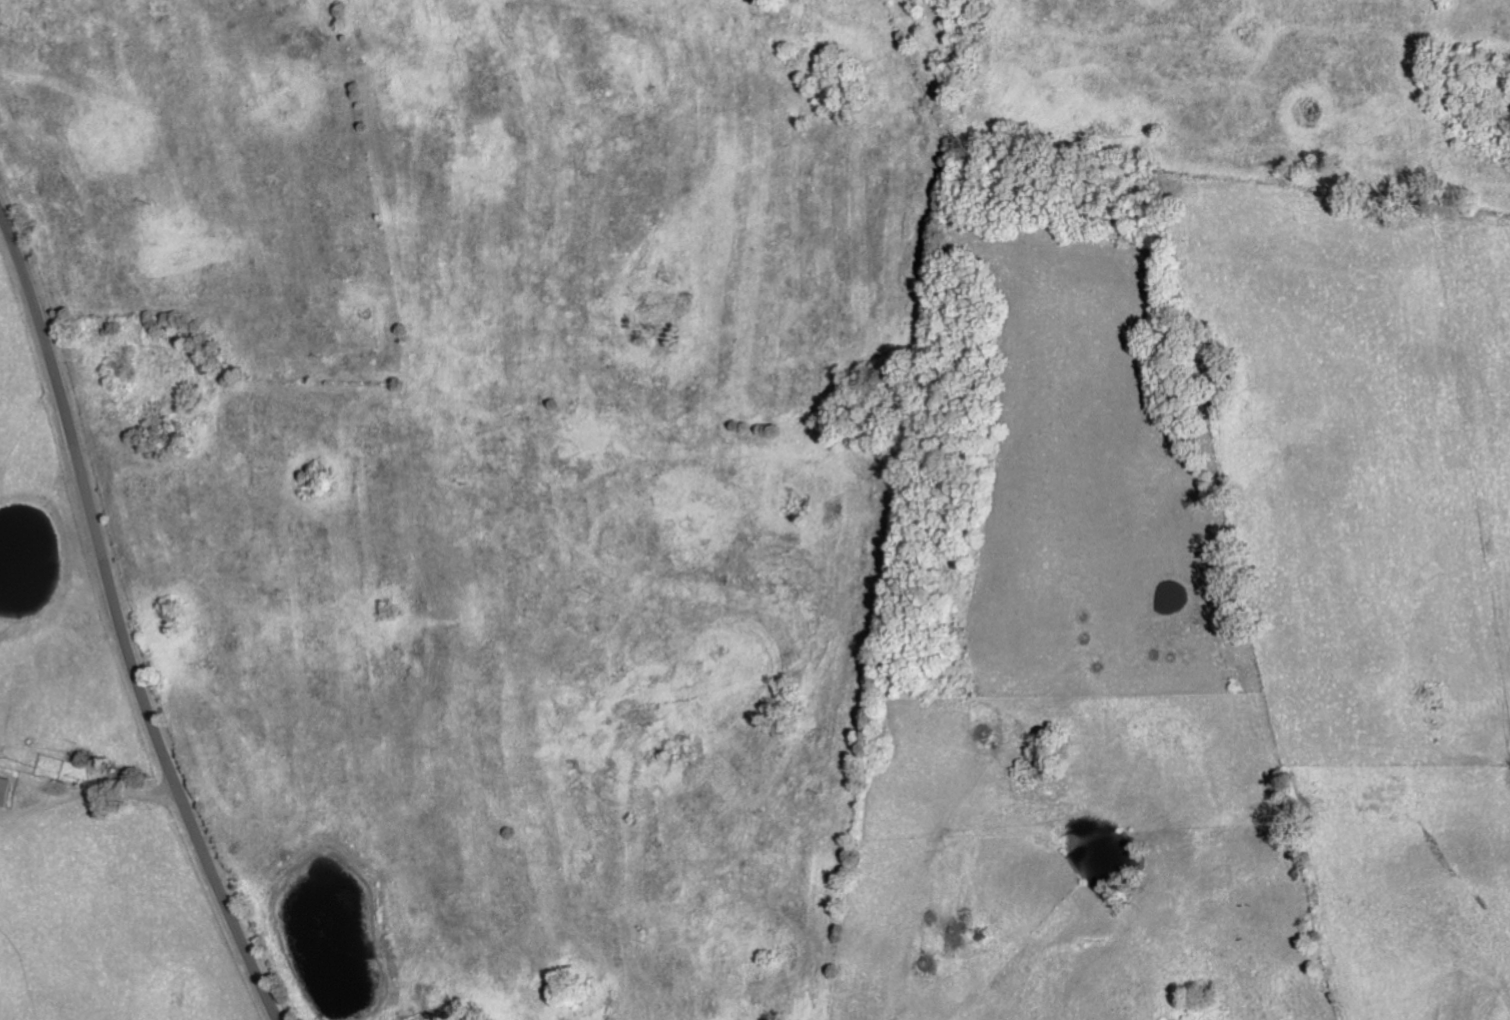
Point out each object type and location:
road: (117, 624)
road: (601, 751)
building: (3, 788)
road: (293, 1009)

